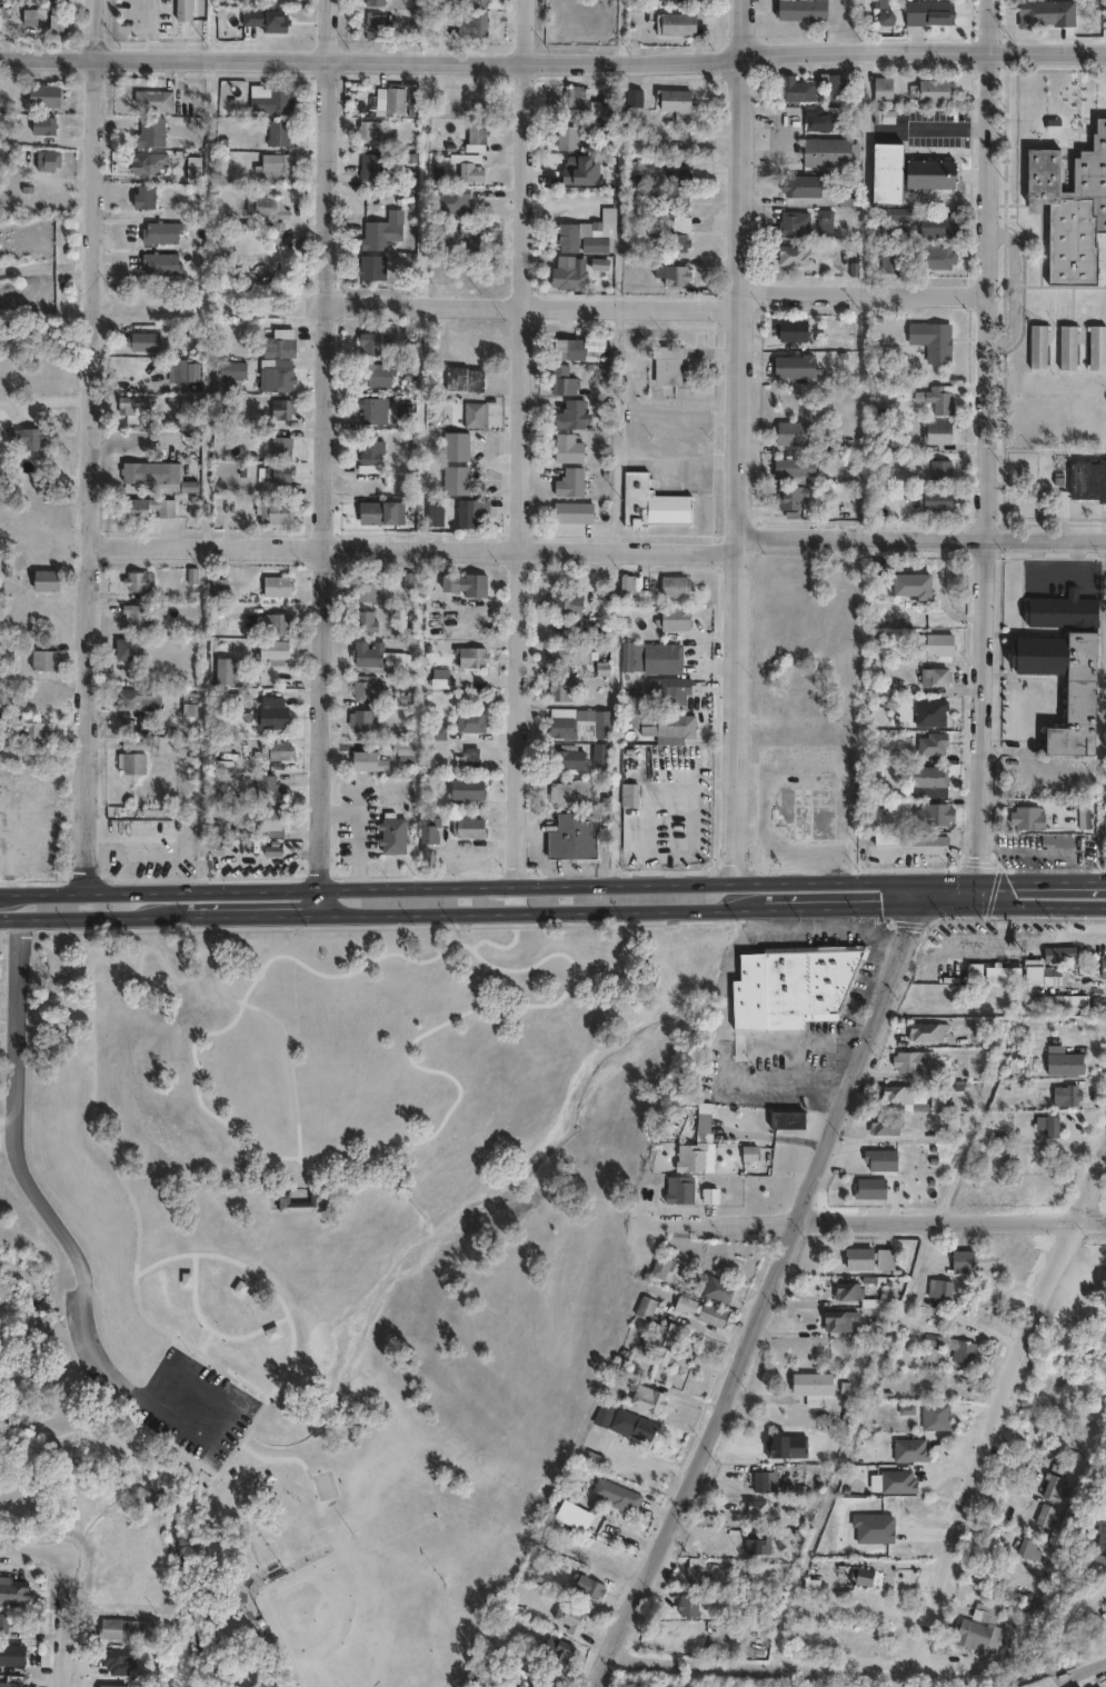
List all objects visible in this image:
building: (371, 2)
building: (474, 2)
building: (180, 9)
building: (801, 9)
building: (1039, 11)
building: (261, 14)
building: (925, 14)
building: (24, 16)
building: (53, 21)
building: (674, 23)
building: (370, 24)
building: (471, 24)
road: (552, 60)
building: (837, 81)
building: (881, 87)
building: (799, 89)
building: (930, 89)
building: (40, 94)
building: (630, 97)
building: (150, 99)
building: (266, 99)
building: (391, 99)
building: (570, 99)
building: (672, 102)
building: (39, 124)
building: (363, 129)
building: (149, 130)
building: (273, 131)
building: (474, 132)
building: (564, 137)
building: (828, 151)
building: (42, 159)
building: (273, 161)
building: (145, 162)
building: (367, 166)
building: (468, 171)
building: (677, 171)
building: (888, 171)
building: (930, 173)
building: (798, 186)
building: (141, 196)
building: (845, 197)
building: (448, 201)
building: (262, 206)
building: (1072, 206)
building: (891, 212)
building: (674, 217)
building: (820, 220)
building: (786, 224)
building: (936, 226)
building: (158, 231)
building: (375, 233)
building: (574, 233)
building: (470, 237)
building: (591, 243)
building: (790, 256)
building: (938, 257)
building: (158, 262)
building: (887, 262)
building: (367, 267)
building: (272, 271)
building: (562, 271)
building: (670, 273)
road: (657, 306)
building: (789, 331)
building: (929, 341)
building: (146, 342)
building: (279, 343)
building: (369, 345)
building: (1037, 345)
building: (1067, 345)
building: (1097, 345)
building: (570, 348)
building: (793, 366)
building: (664, 367)
building: (237, 369)
building: (182, 372)
building: (373, 376)
building: (280, 377)
building: (465, 380)
building: (561, 380)
building: (938, 399)
building: (129, 405)
building: (282, 410)
building: (373, 411)
building: (570, 415)
building: (474, 416)
building: (935, 432)
building: (791, 433)
building: (28, 437)
road: (735, 441)
road: (983, 441)
road: (518, 442)
building: (459, 446)
road: (94, 447)
building: (282, 447)
building: (567, 448)
building: (371, 450)
road: (326, 458)
building: (790, 470)
building: (938, 470)
building: (152, 472)
building: (277, 473)
building: (456, 480)
building: (1087, 480)
building: (569, 482)
building: (788, 497)
building: (933, 500)
building: (652, 503)
building: (148, 509)
building: (571, 511)
building: (276, 512)
building: (436, 512)
building: (371, 513)
building: (471, 513)
road: (920, 539)
road: (413, 551)
building: (46, 580)
building: (138, 580)
building: (409, 581)
building: (876, 585)
building: (276, 586)
building: (466, 586)
building: (674, 586)
building: (910, 586)
building: (219, 587)
building: (632, 590)
building: (365, 593)
road: (1104, 596)
building: (564, 601)
building: (136, 618)
building: (675, 618)
building: (280, 622)
building: (363, 622)
building: (931, 645)
building: (128, 647)
building: (273, 650)
building: (567, 653)
building: (377, 657)
building: (472, 658)
building: (661, 658)
building: (44, 659)
building: (1064, 662)
road: (1104, 662)
building: (223, 669)
building: (936, 677)
building: (363, 687)
building: (561, 690)
building: (666, 691)
building: (137, 697)
building: (189, 703)
building: (927, 713)
building: (271, 716)
building: (359, 721)
building: (657, 721)
building: (1103, 722)
building: (470, 723)
building: (32, 726)
building: (579, 726)
building: (929, 745)
building: (276, 749)
building: (402, 749)
building: (600, 755)
building: (130, 757)
building: (566, 758)
building: (468, 760)
road: (798, 761)
building: (368, 762)
road: (1023, 769)
building: (928, 777)
building: (268, 789)
building: (467, 791)
building: (572, 792)
building: (628, 795)
road: (766, 799)
building: (934, 815)
building: (1075, 818)
building: (1027, 819)
building: (276, 826)
building: (477, 829)
building: (430, 830)
building: (440, 832)
building: (400, 837)
building: (581, 837)
building: (1060, 839)
building: (890, 840)
road: (173, 841)
building: (927, 841)
road: (1037, 849)
road: (793, 851)
road: (899, 852)
road: (43, 871)
road: (950, 882)
traffic signals: (977, 882)
road: (1042, 882)
road: (472, 886)
road: (11, 894)
road: (977, 895)
traffic signals: (978, 907)
road: (1005, 907)
road: (827, 909)
road: (535, 911)
road: (241, 917)
road: (835, 917)
road: (91, 919)
road: (11, 920)
road: (1000, 920)
road: (1058, 920)
road: (1000, 935)
road: (895, 938)
building: (1059, 954)
building: (1100, 969)
building: (974, 971)
building: (1039, 974)
building: (999, 981)
building: (787, 989)
building: (1043, 1004)
building: (948, 1005)
building: (924, 1034)
building: (911, 1062)
building: (1057, 1062)
road: (826, 1095)
building: (1059, 1095)
building: (895, 1096)
building: (935, 1099)
road: (834, 1100)
building: (786, 1121)
building: (1050, 1125)
building: (880, 1127)
building: (1044, 1128)
building: (696, 1147)
building: (747, 1157)
building: (879, 1161)
building: (868, 1189)
building: (677, 1191)
building: (707, 1198)
building: (300, 1202)
road: (56, 1212)
road: (880, 1216)
park: (327, 1254)
building: (856, 1259)
building: (960, 1261)
building: (657, 1268)
road: (765, 1286)
building: (711, 1288)
building: (937, 1289)
building: (845, 1291)
building: (681, 1305)
building: (641, 1308)
building: (709, 1315)
building: (836, 1320)
building: (656, 1342)
building: (948, 1347)
building: (926, 1357)
building: (809, 1387)
road: (1003, 1395)
building: (645, 1398)
parking lot: (195, 1406)
building: (599, 1414)
building: (931, 1417)
building: (628, 1427)
building: (1068, 1429)
building: (907, 1450)
building: (588, 1458)
building: (760, 1480)
building: (895, 1484)
building: (1047, 1490)
building: (612, 1496)
building: (754, 1511)
building: (1042, 1519)
building: (1098, 1543)
building: (753, 1546)
road: (33, 1550)
building: (1024, 1551)
building: (694, 1578)
building: (859, 1578)
building: (586, 1588)
building: (14, 1591)
building: (685, 1606)
building: (980, 1618)
building: (567, 1619)
building: (4, 1623)
road: (68, 1626)
building: (117, 1629)
building: (973, 1638)
building: (552, 1650)
building: (12, 1654)
building: (114, 1661)
road: (769, 1664)
building: (12, 1683)
building: (112, 1685)

